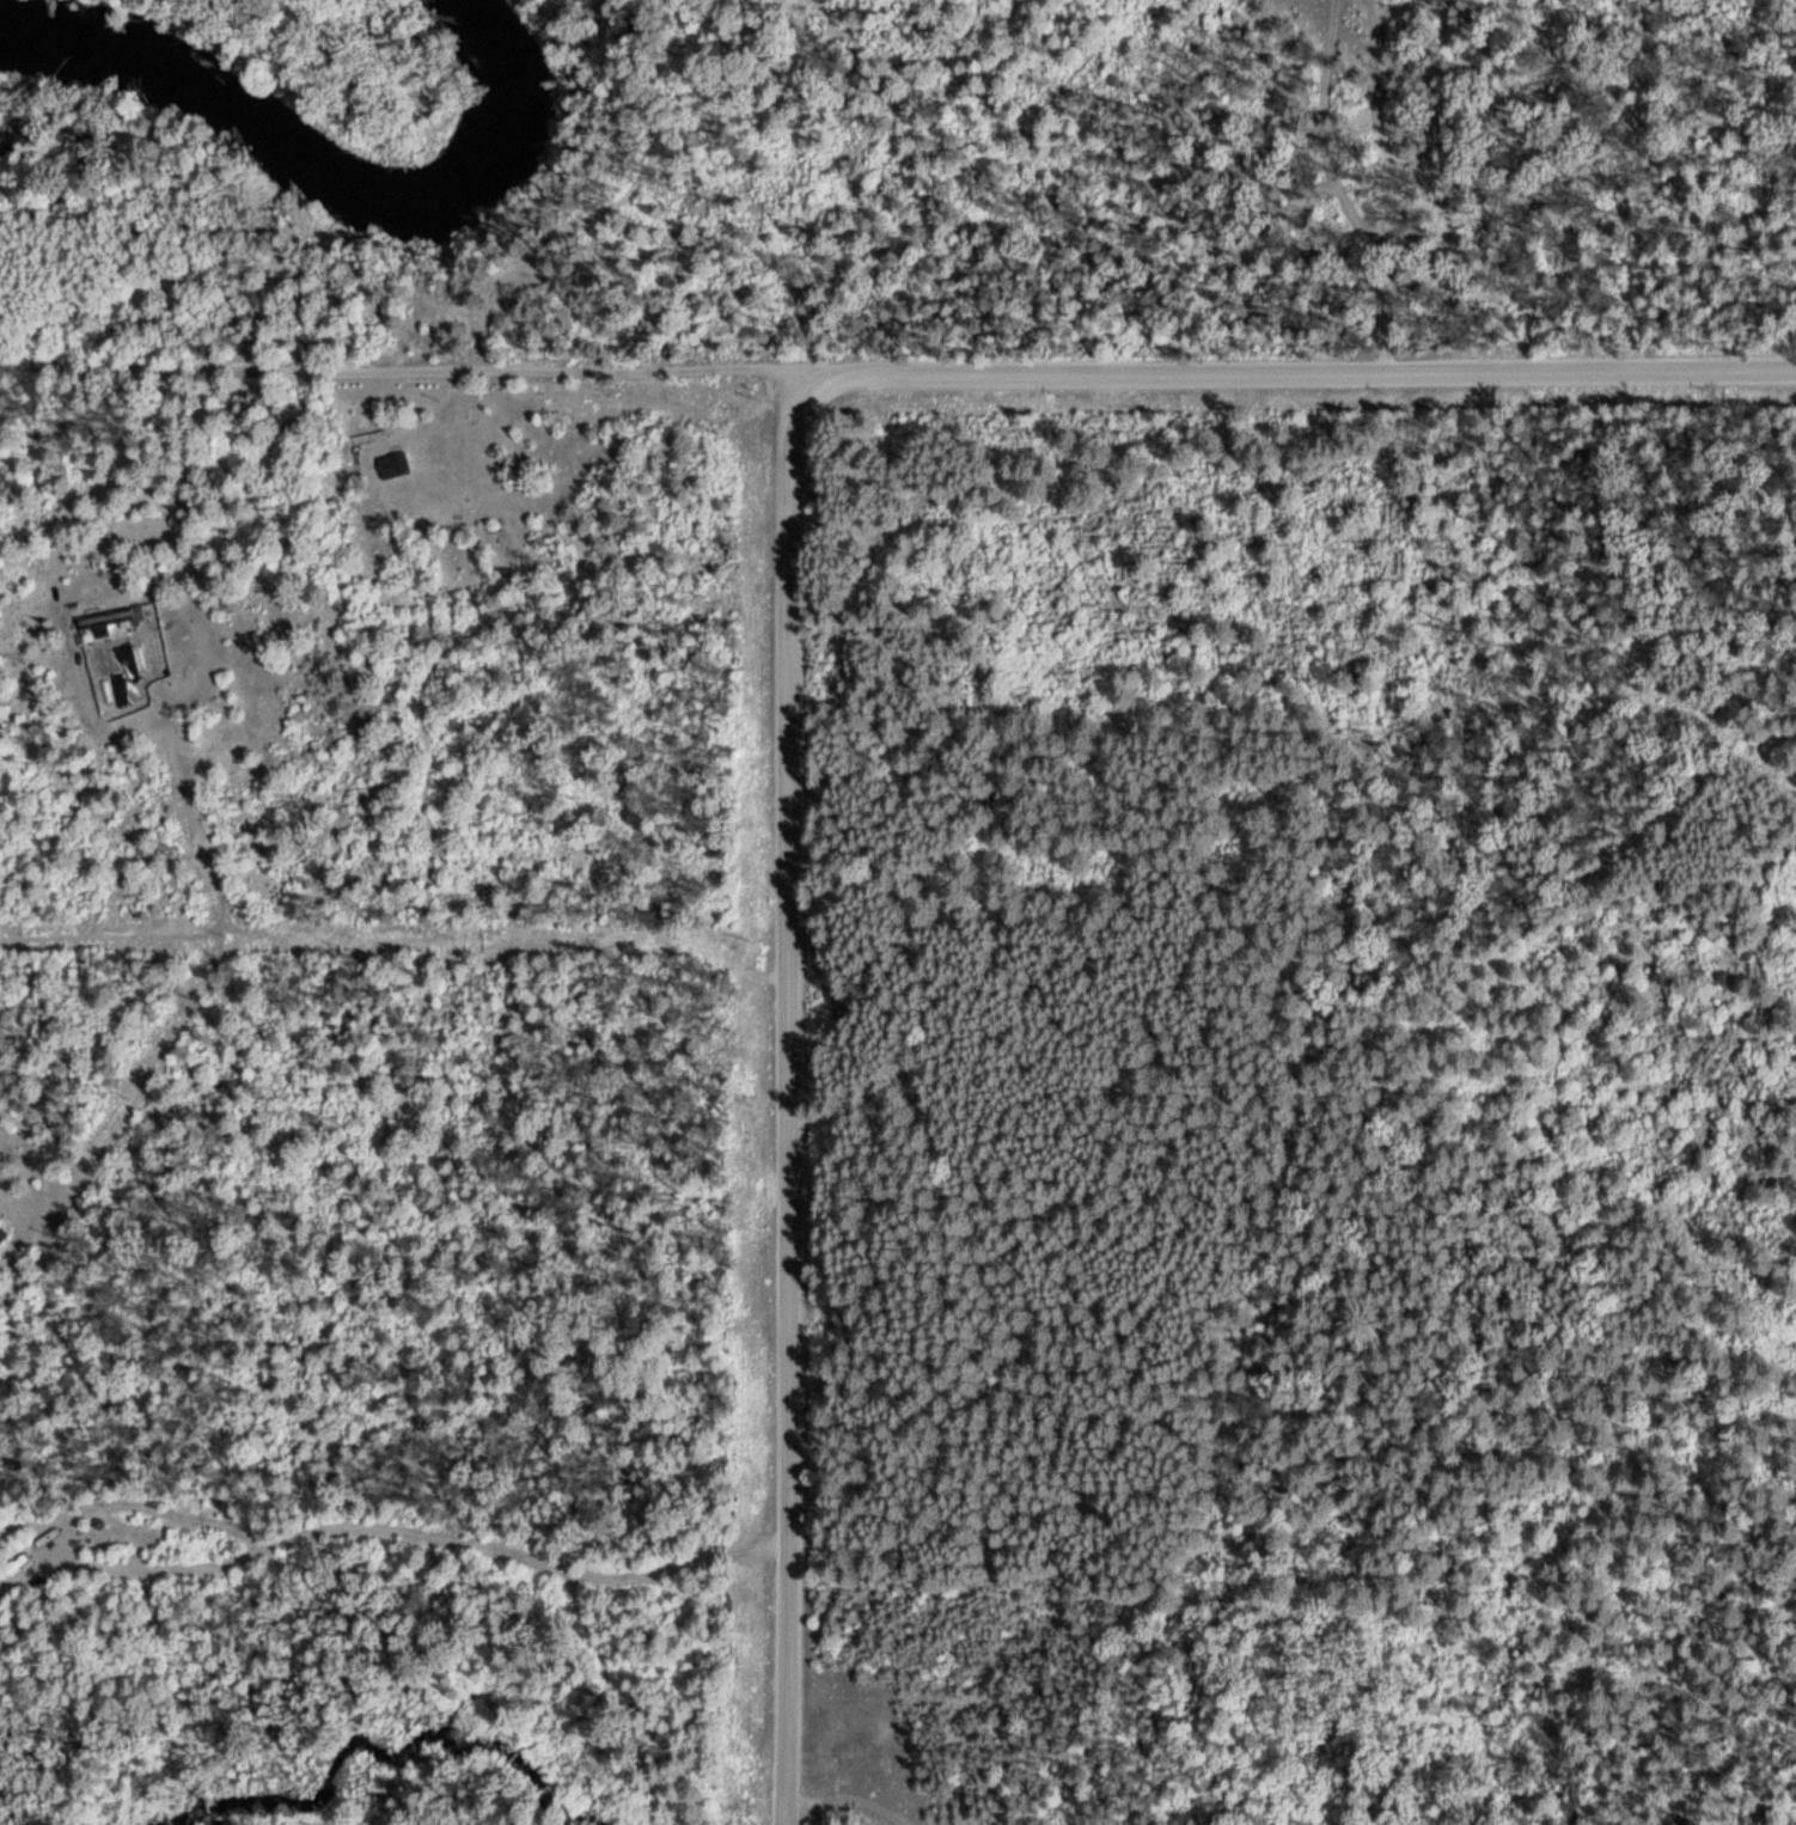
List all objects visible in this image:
river: (322, 165)
road: (1317, 195)
road: (402, 359)
road: (1297, 379)
road: (24, 448)
road: (796, 453)
building: (390, 464)
building: (160, 604)
road: (792, 1173)
building: (1, 1234)

